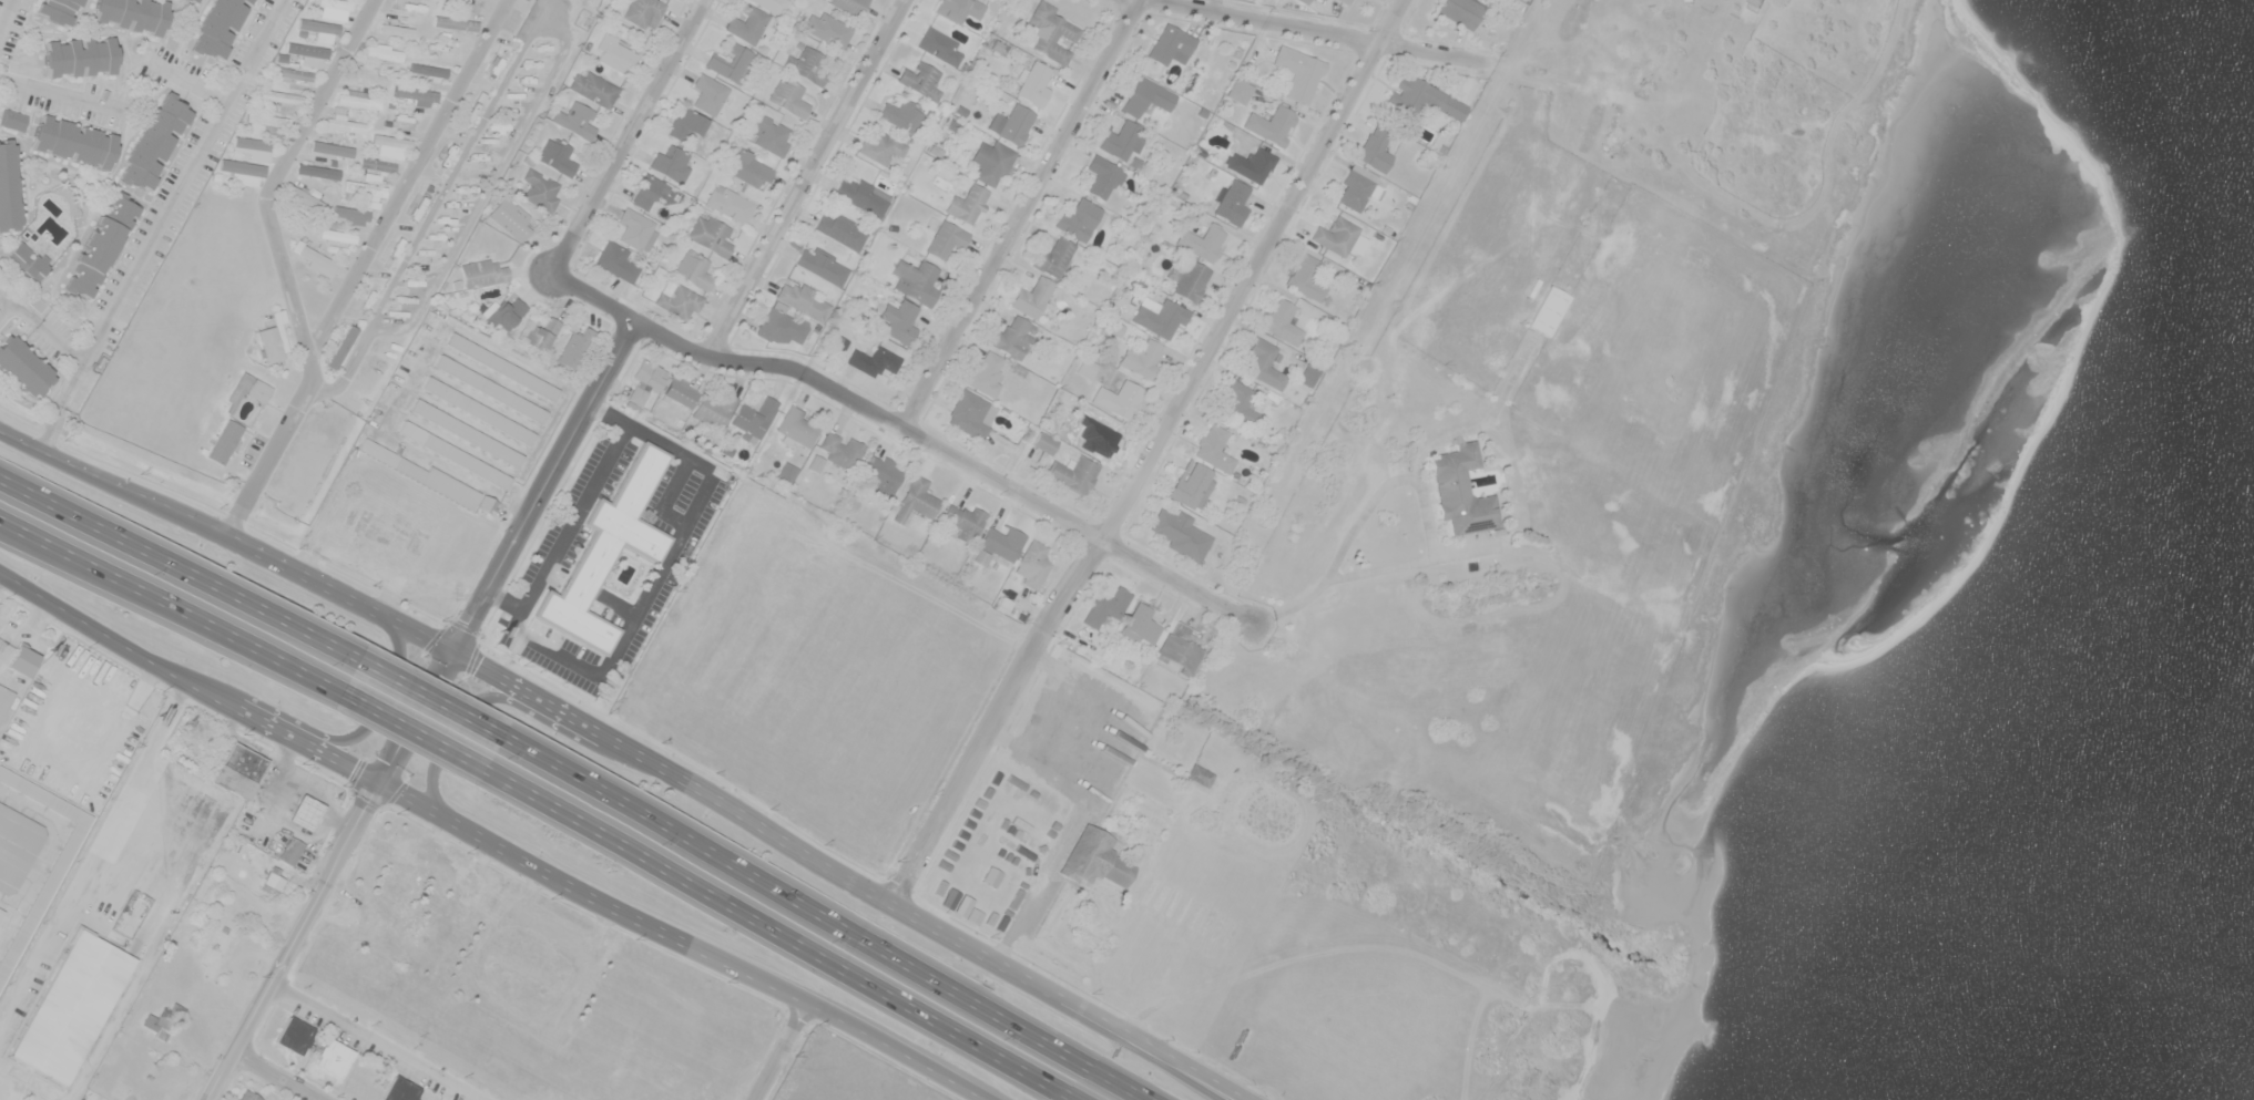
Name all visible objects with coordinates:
building: (193, 1)
building: (1303, 1)
building: (1342, 1)
building: (336, 2)
building: (773, 4)
building: (851, 4)
building: (958, 9)
building: (58, 10)
building: (1460, 11)
road: (3, 12)
building: (643, 12)
building: (132, 13)
building: (529, 18)
building: (456, 23)
building: (747, 23)
building: (318, 25)
building: (217, 27)
building: (826, 28)
building: (396, 30)
road: (1329, 31)
building: (1049, 32)
building: (1170, 44)
building: (939, 45)
building: (307, 50)
building: (384, 51)
building: (446, 51)
building: (614, 53)
building: (79, 56)
building: (714, 59)
building: (806, 64)
building: (1297, 72)
building: (294, 73)
building: (371, 74)
building: (920, 79)
building: (1032, 83)
building: (593, 88)
building: (1238, 90)
building: (708, 92)
building: (1414, 93)
building: (416, 95)
building: (1145, 95)
building: (356, 96)
building: (787, 96)
building: (281, 99)
road: (130, 106)
building: (901, 114)
building: (12, 119)
building: (577, 120)
building: (1016, 123)
building: (1272, 123)
building: (264, 124)
building: (344, 124)
building: (685, 124)
road: (628, 134)
building: (771, 134)
building: (1122, 140)
building: (72, 141)
building: (154, 142)
building: (390, 146)
building: (881, 146)
building: (252, 147)
building: (333, 147)
building: (1375, 147)
building: (557, 155)
building: (990, 161)
building: (671, 163)
building: (1251, 164)
building: (376, 165)
building: (242, 166)
building: (751, 167)
building: (318, 169)
building: (1103, 175)
road: (408, 177)
road: (808, 178)
building: (1357, 186)
building: (9, 187)
building: (365, 187)
building: (541, 189)
building: (646, 189)
building: (863, 195)
building: (303, 198)
building: (1230, 202)
building: (730, 203)
building: (967, 204)
building: (350, 213)
road: (1021, 215)
building: (510, 218)
building: (1079, 218)
road: (162, 224)
building: (635, 229)
building: (842, 230)
building: (710, 234)
building: (1336, 234)
building: (337, 235)
building: (946, 238)
building: (1203, 240)
building: (100, 245)
building: (1054, 257)
building: (30, 260)
building: (319, 260)
building: (615, 260)
road: (283, 265)
building: (822, 265)
building: (693, 269)
building: (481, 273)
building: (1305, 277)
building: (1190, 279)
building: (915, 280)
building: (1032, 296)
building: (676, 299)
building: (803, 300)
road: (1, 301)
building: (1548, 310)
building: (504, 315)
building: (1160, 315)
building: (899, 320)
building: (1282, 321)
building: (779, 325)
road: (44, 326)
building: (1116, 328)
building: (538, 331)
building: (1012, 337)
building: (272, 343)
building: (837, 343)
building: (577, 346)
building: (341, 347)
building: (1141, 357)
building: (874, 360)
building: (1264, 362)
building: (23, 366)
building: (502, 367)
building: (1087, 367)
building: (987, 373)
building: (1308, 373)
building: (644, 383)
building: (249, 389)
building: (491, 389)
building: (680, 391)
building: (1120, 399)
building: (1241, 404)
building: (714, 410)
building: (480, 411)
building: (971, 413)
building: (753, 419)
building: (797, 426)
road: (902, 430)
building: (466, 432)
building: (1027, 434)
building: (224, 440)
building: (1046, 441)
building: (1213, 448)
building: (840, 450)
building: (455, 453)
road: (1151, 454)
building: (815, 463)
building: (785, 473)
building: (1073, 473)
building: (424, 474)
building: (881, 475)
road: (547, 484)
building: (1191, 484)
building: (1460, 490)
building: (916, 500)
building: (487, 504)
building: (963, 521)
building: (1180, 533)
road: (1435, 544)
building: (997, 545)
building: (606, 549)
building: (1033, 564)
road: (176, 567)
road: (170, 606)
building: (1106, 606)
road: (73, 614)
building: (1140, 625)
road: (26, 631)
building: (1177, 649)
building: (23, 660)
building: (4, 698)
road: (426, 699)
road: (470, 705)
road: (567, 713)
road: (264, 721)
road: (412, 730)
road: (361, 733)
building: (238, 770)
building: (1200, 774)
building: (305, 813)
gas station: (306, 813)
road: (455, 823)
building: (16, 846)
road: (47, 851)
building: (292, 851)
building: (1093, 859)
road: (333, 875)
building: (273, 880)
building: (44, 891)
building: (1, 911)
road: (829, 914)
road: (665, 934)
road: (778, 934)
building: (72, 1007)
building: (163, 1021)
building: (294, 1035)
road: (375, 1042)
road: (779, 1051)
road: (901, 1051)
building: (333, 1057)
road: (1167, 1063)
road: (1186, 1063)
park: (847, 1073)
road: (277, 1077)
building: (399, 1089)
building: (247, 1096)

